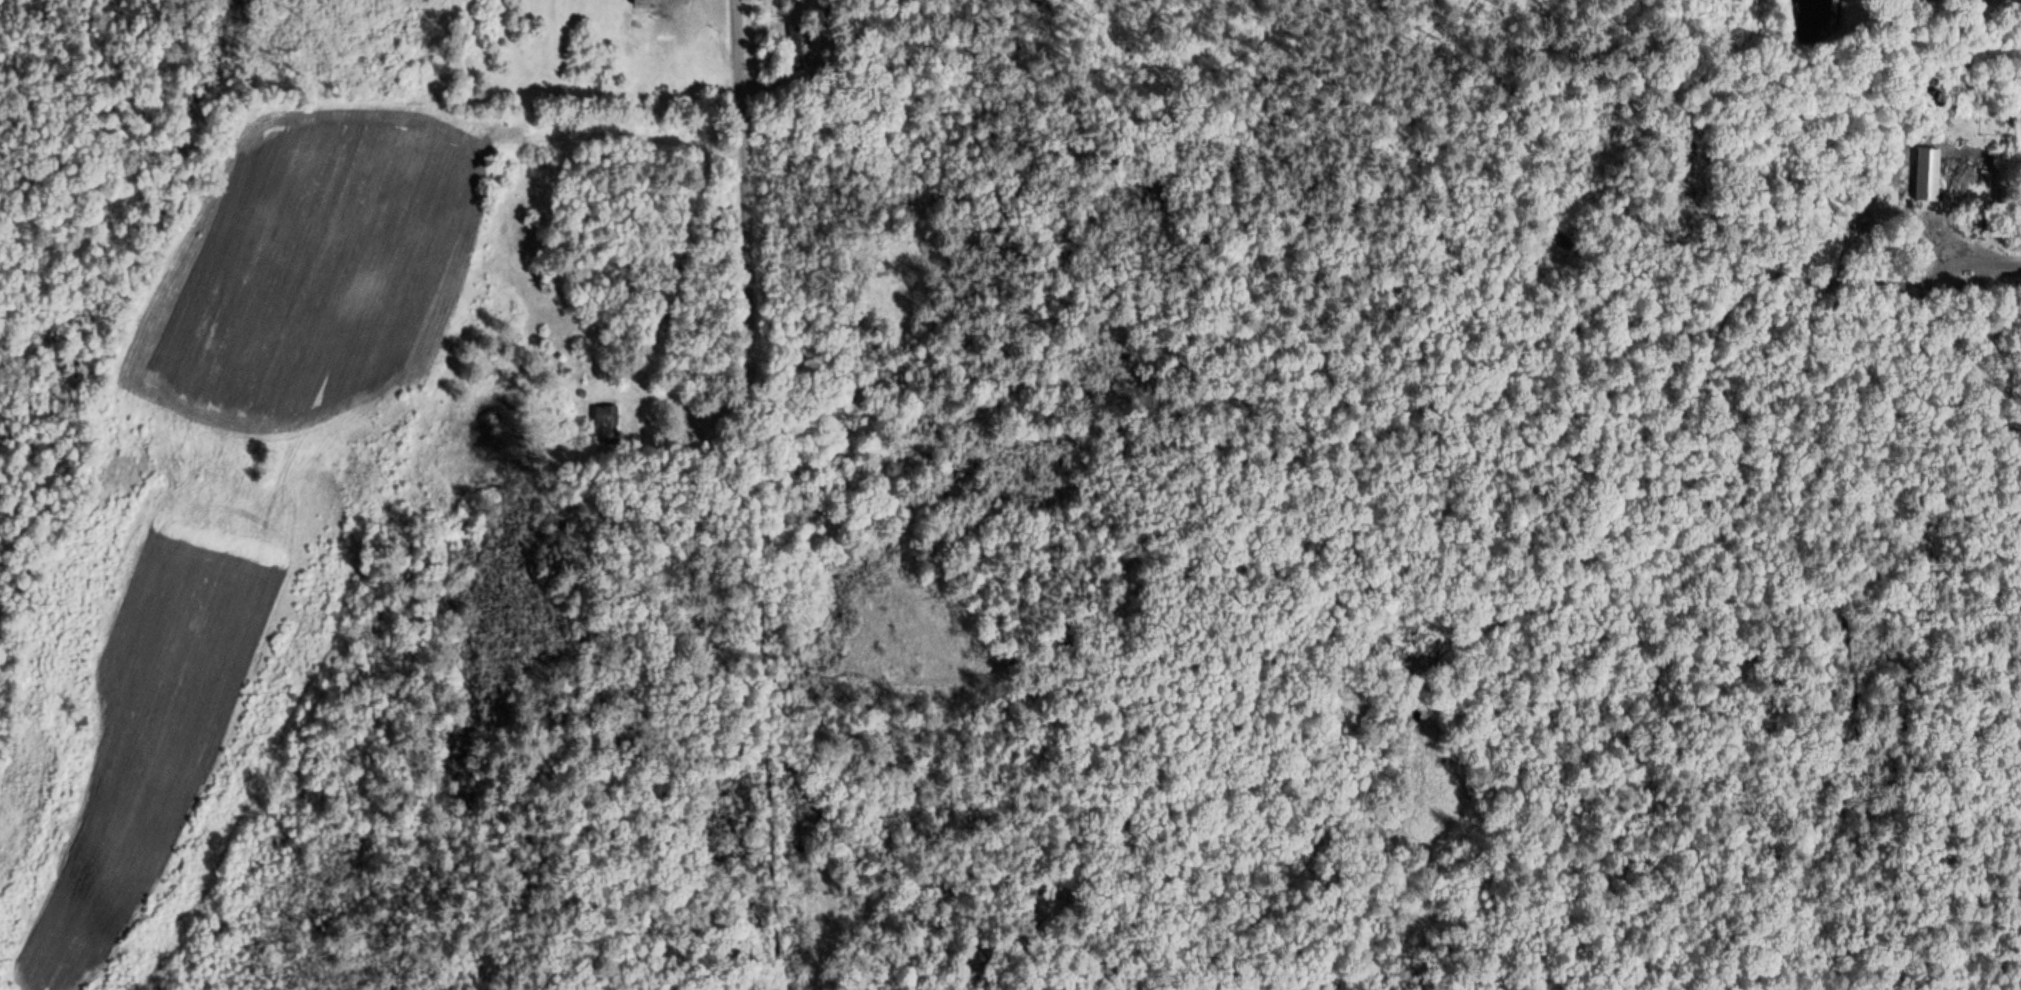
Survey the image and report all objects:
road: (743, 112)
road: (2006, 268)

